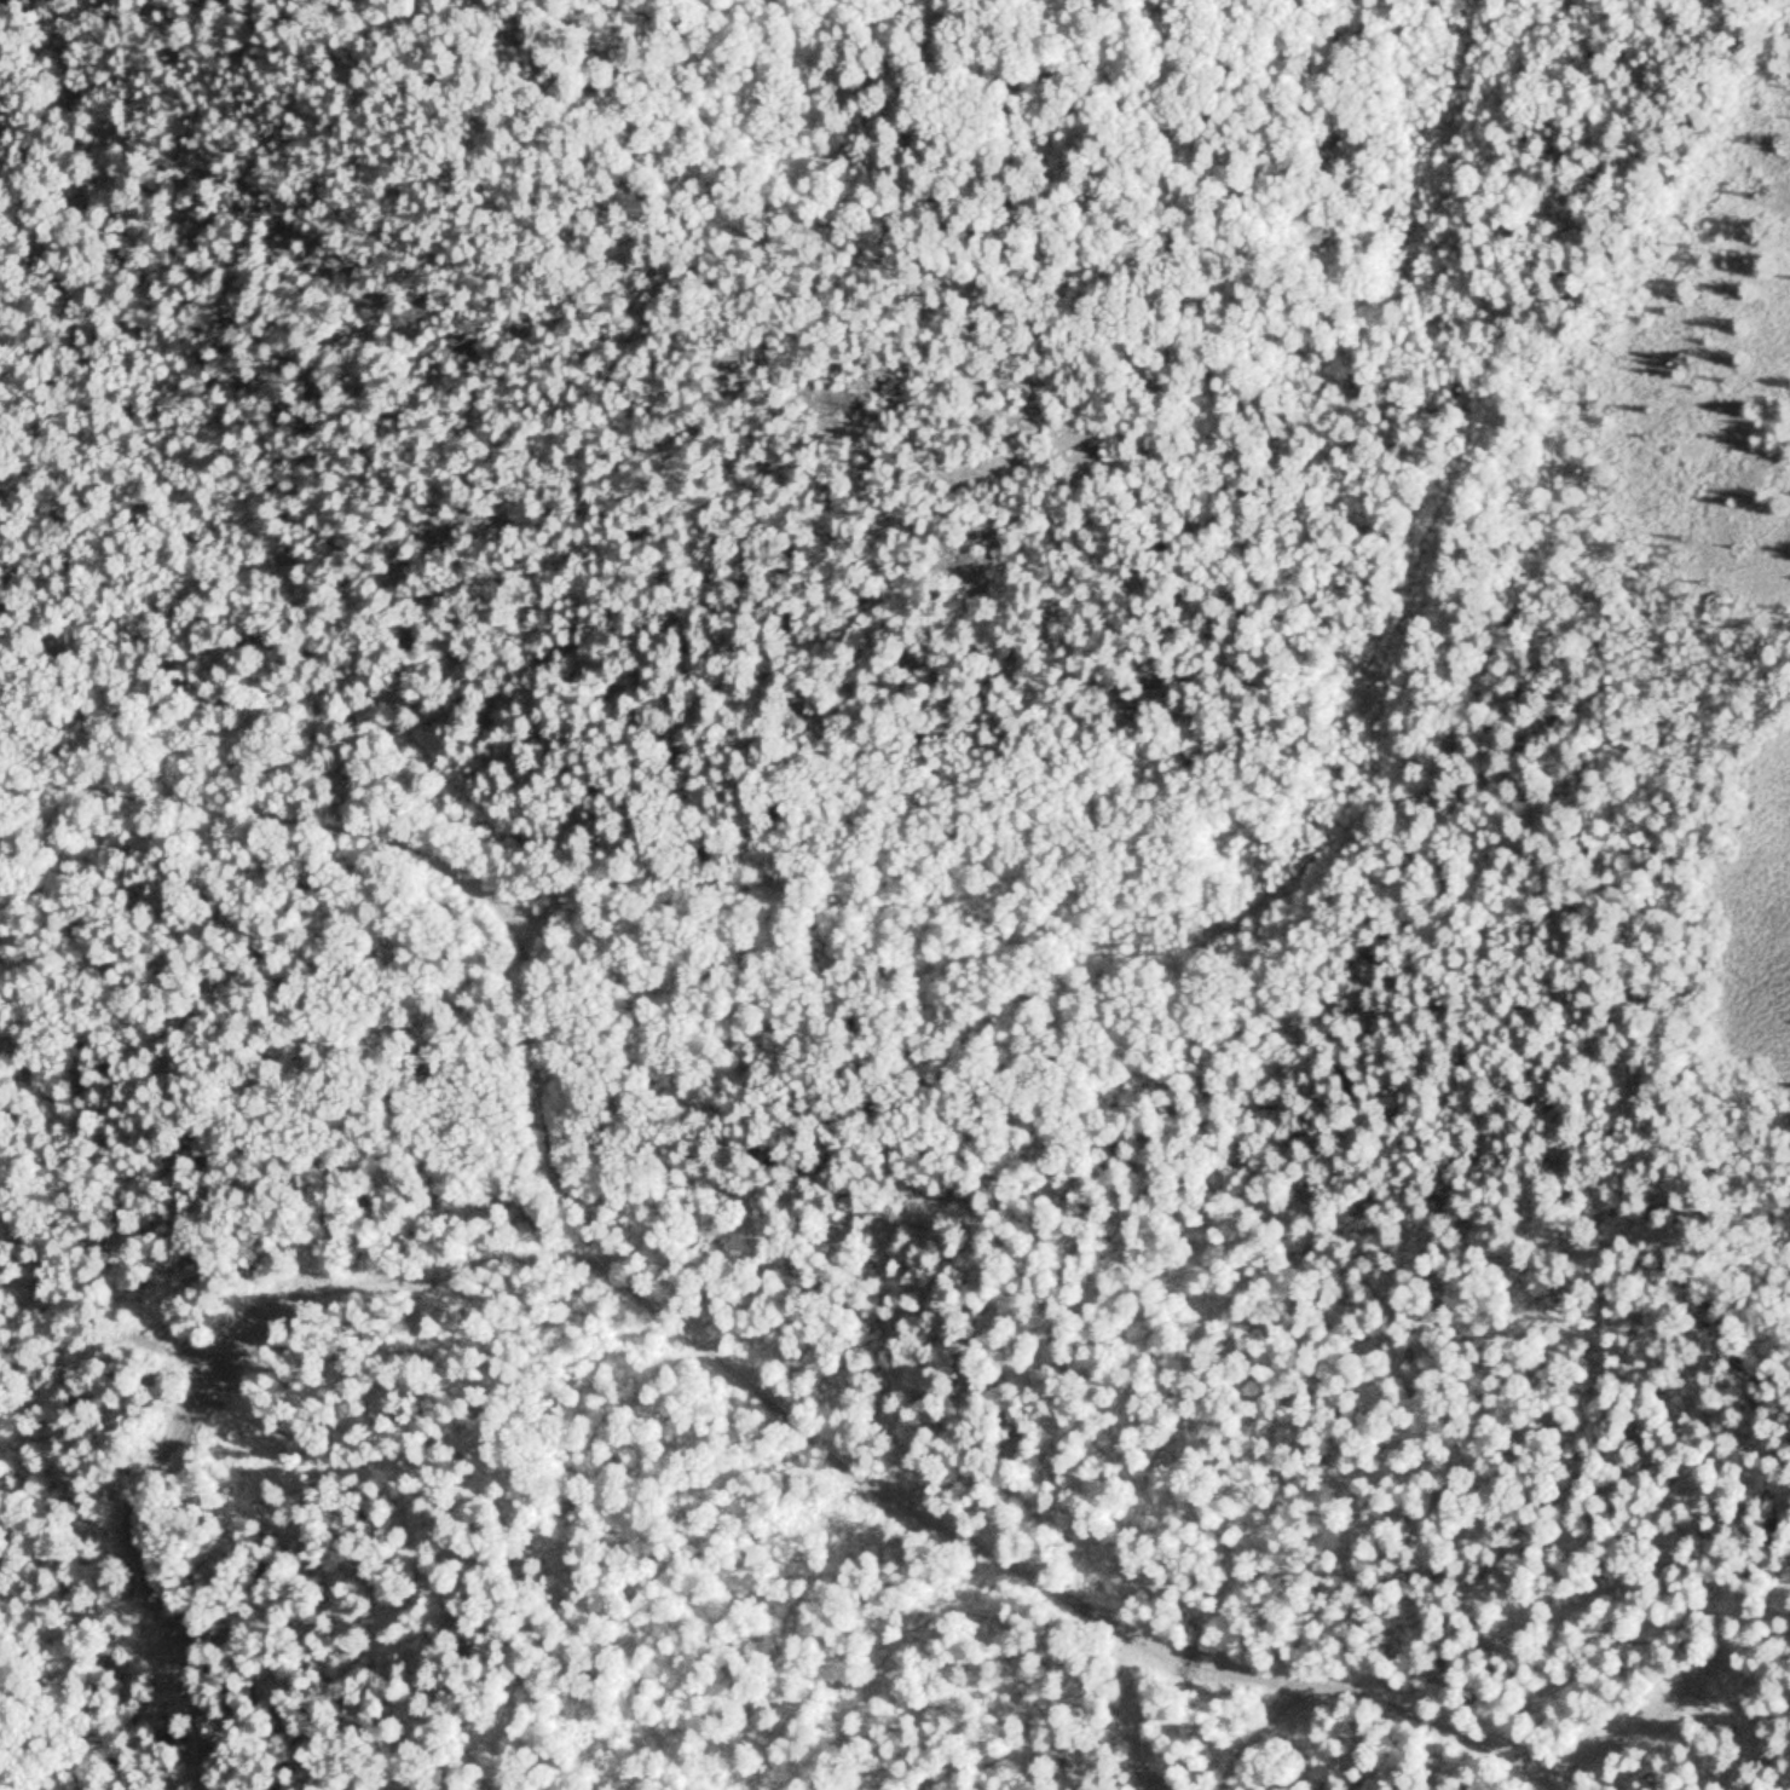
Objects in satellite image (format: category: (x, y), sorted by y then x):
road: (1304, 835)
road: (709, 1270)

